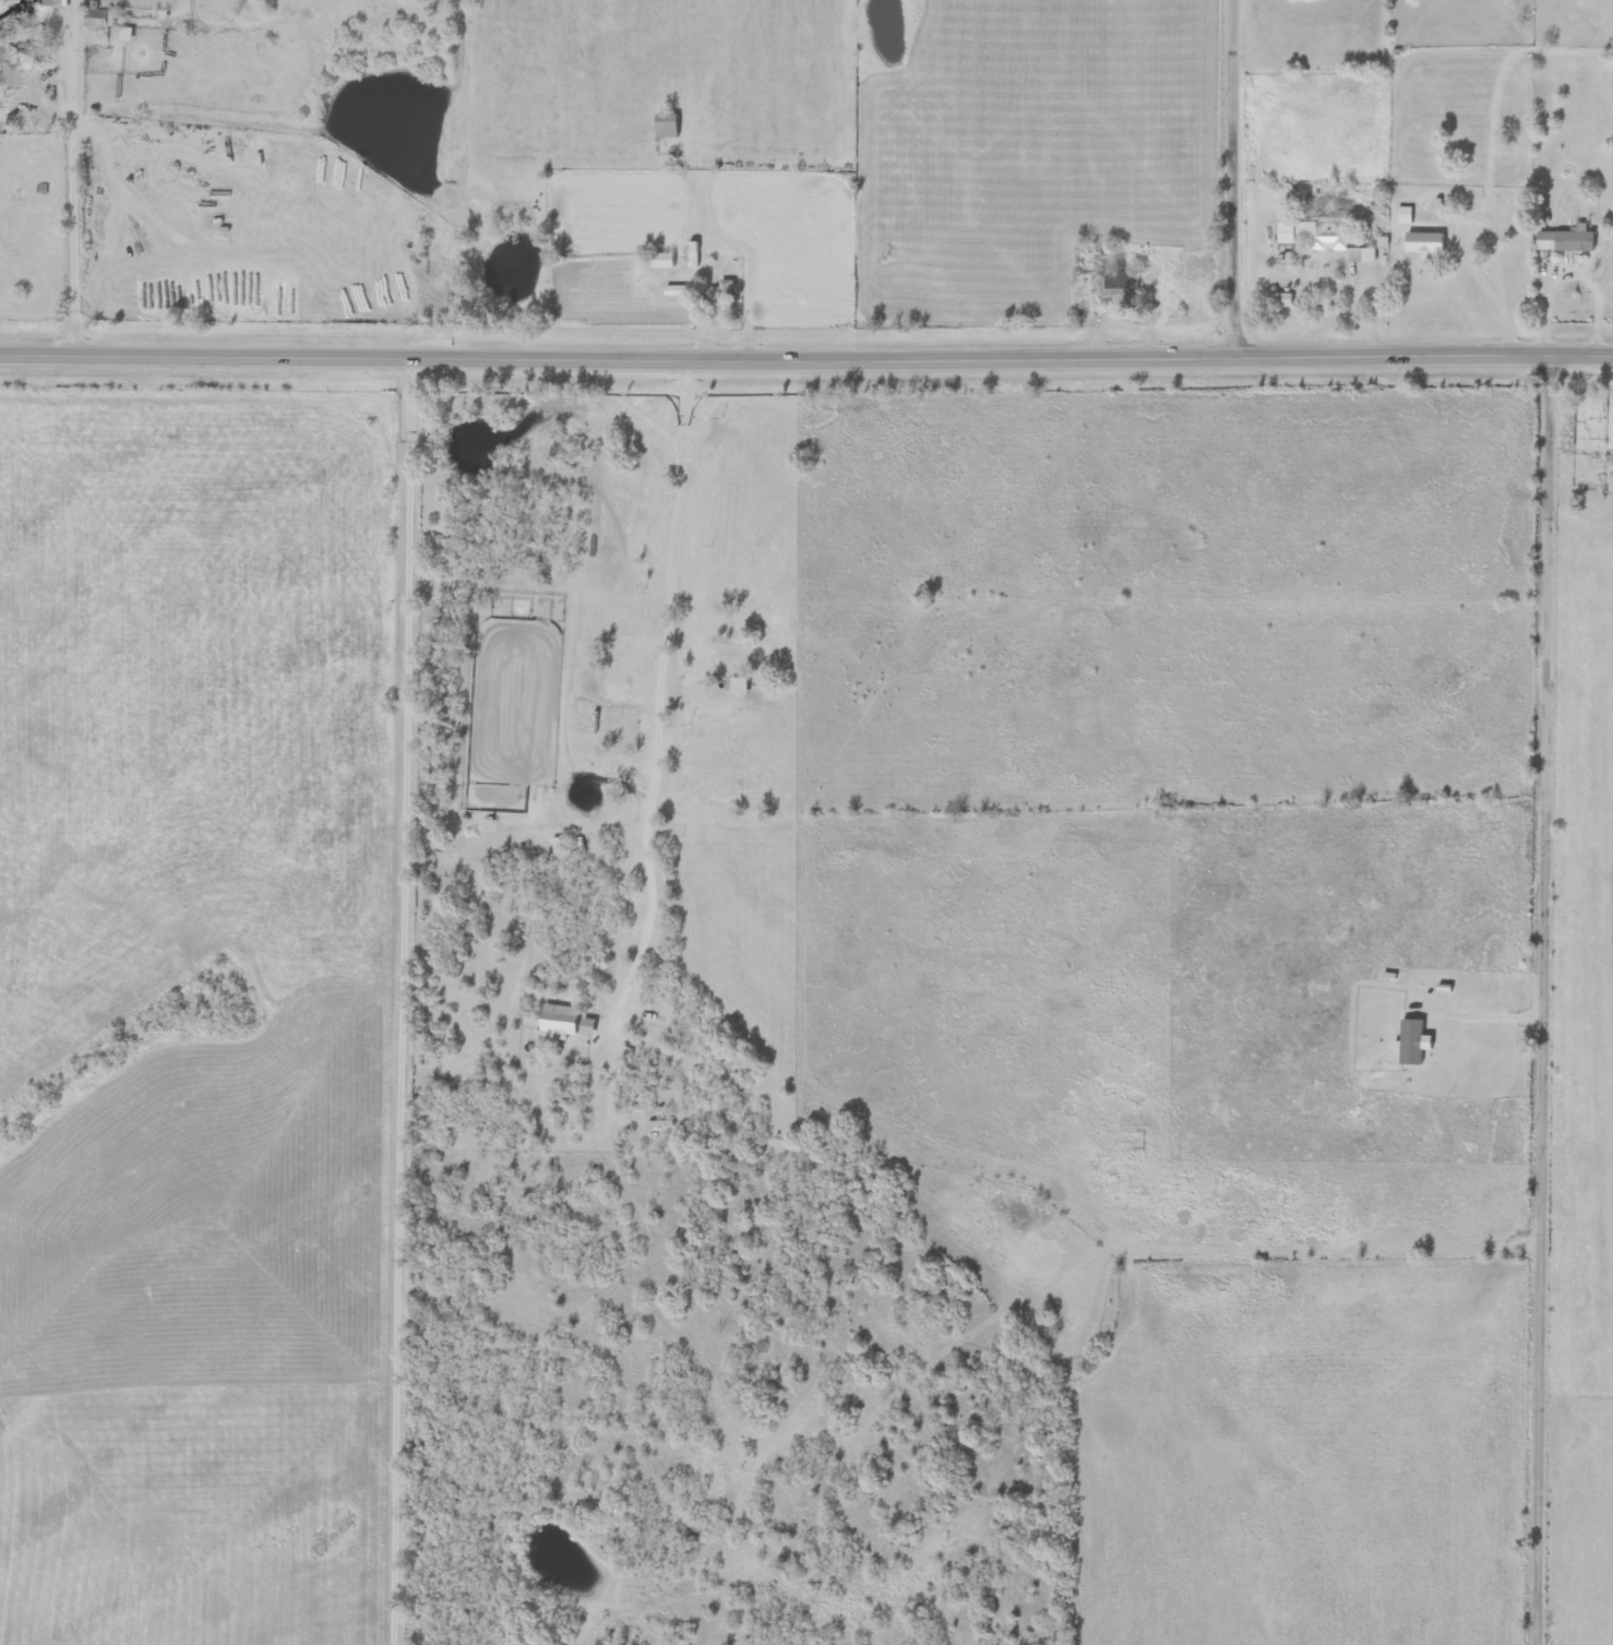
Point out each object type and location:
building: (43, 3)
building: (99, 19)
building: (8, 76)
building: (666, 126)
road: (1231, 176)
road: (74, 183)
road: (1493, 236)
building: (1323, 239)
building: (1564, 241)
building: (1423, 243)
building: (661, 260)
building: (1118, 283)
building: (676, 290)
building: (721, 297)
building: (1280, 300)
road: (806, 355)
building: (1587, 424)
road: (1580, 517)
building: (733, 665)
building: (592, 687)
road: (661, 689)
road: (413, 696)
building: (622, 729)
road: (1543, 998)
road: (1481, 1010)
road: (407, 1343)

